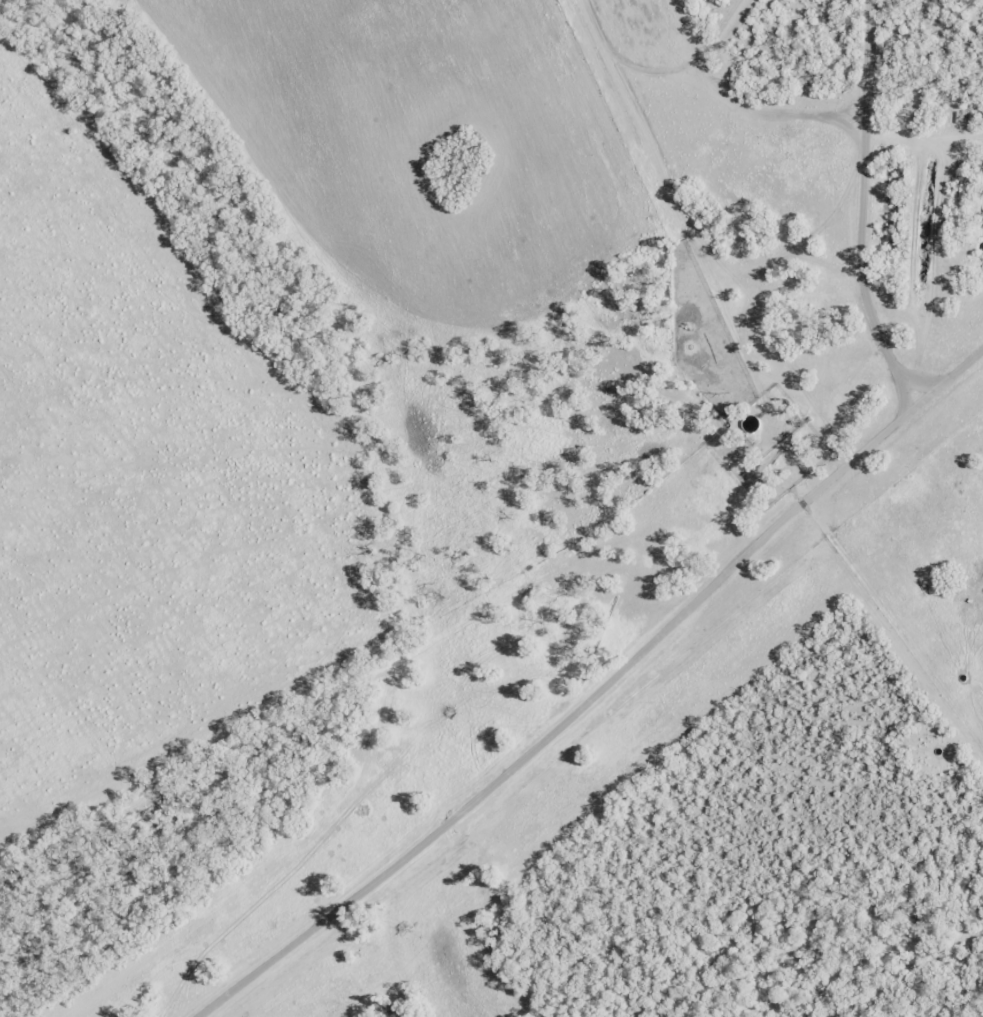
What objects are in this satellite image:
road: (747, 173)
road: (546, 597)
road: (627, 695)

